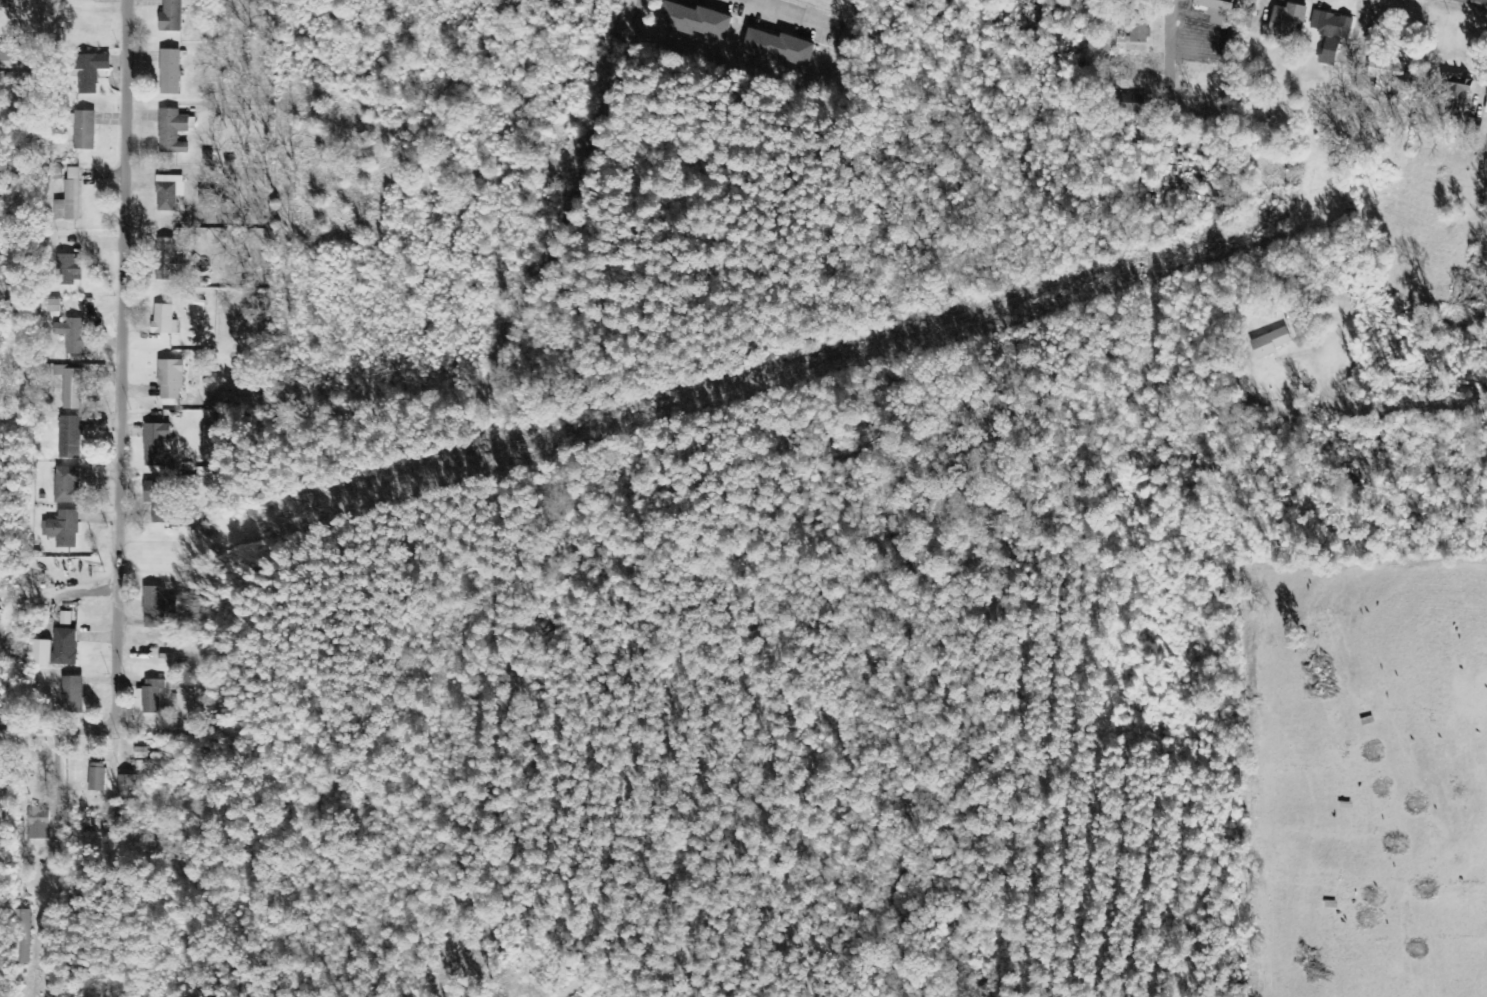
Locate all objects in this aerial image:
building: (52, 1)
building: (1219, 11)
building: (171, 16)
building: (696, 22)
building: (1287, 24)
road: (455, 29)
road: (341, 32)
road: (625, 34)
building: (1331, 34)
building: (1134, 38)
building: (777, 49)
building: (10, 57)
building: (91, 71)
building: (170, 72)
building: (1388, 74)
building: (1456, 99)
building: (1132, 104)
building: (1486, 112)
building: (172, 129)
building: (84, 130)
building: (169, 192)
building: (69, 198)
building: (167, 260)
building: (69, 270)
building: (51, 306)
building: (164, 320)
building: (71, 335)
building: (1270, 343)
road: (118, 364)
building: (170, 380)
building: (72, 389)
building: (207, 437)
building: (70, 438)
building: (156, 444)
building: (67, 485)
building: (159, 501)
building: (202, 523)
building: (64, 530)
building: (154, 607)
building: (65, 618)
building: (64, 648)
building: (41, 654)
building: (72, 693)
building: (150, 700)
road: (52, 730)
building: (97, 777)
building: (128, 784)
building: (38, 823)
building: (20, 938)

